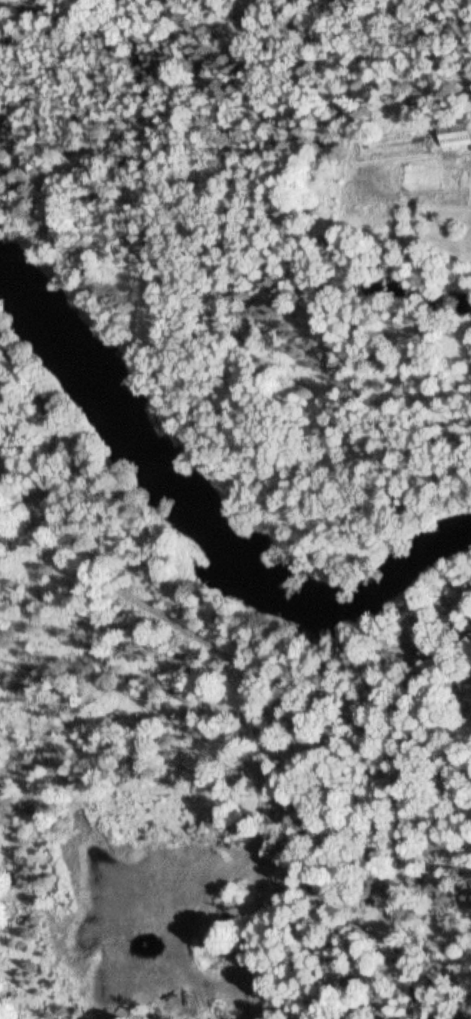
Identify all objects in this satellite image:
building: (456, 135)
river: (200, 525)

